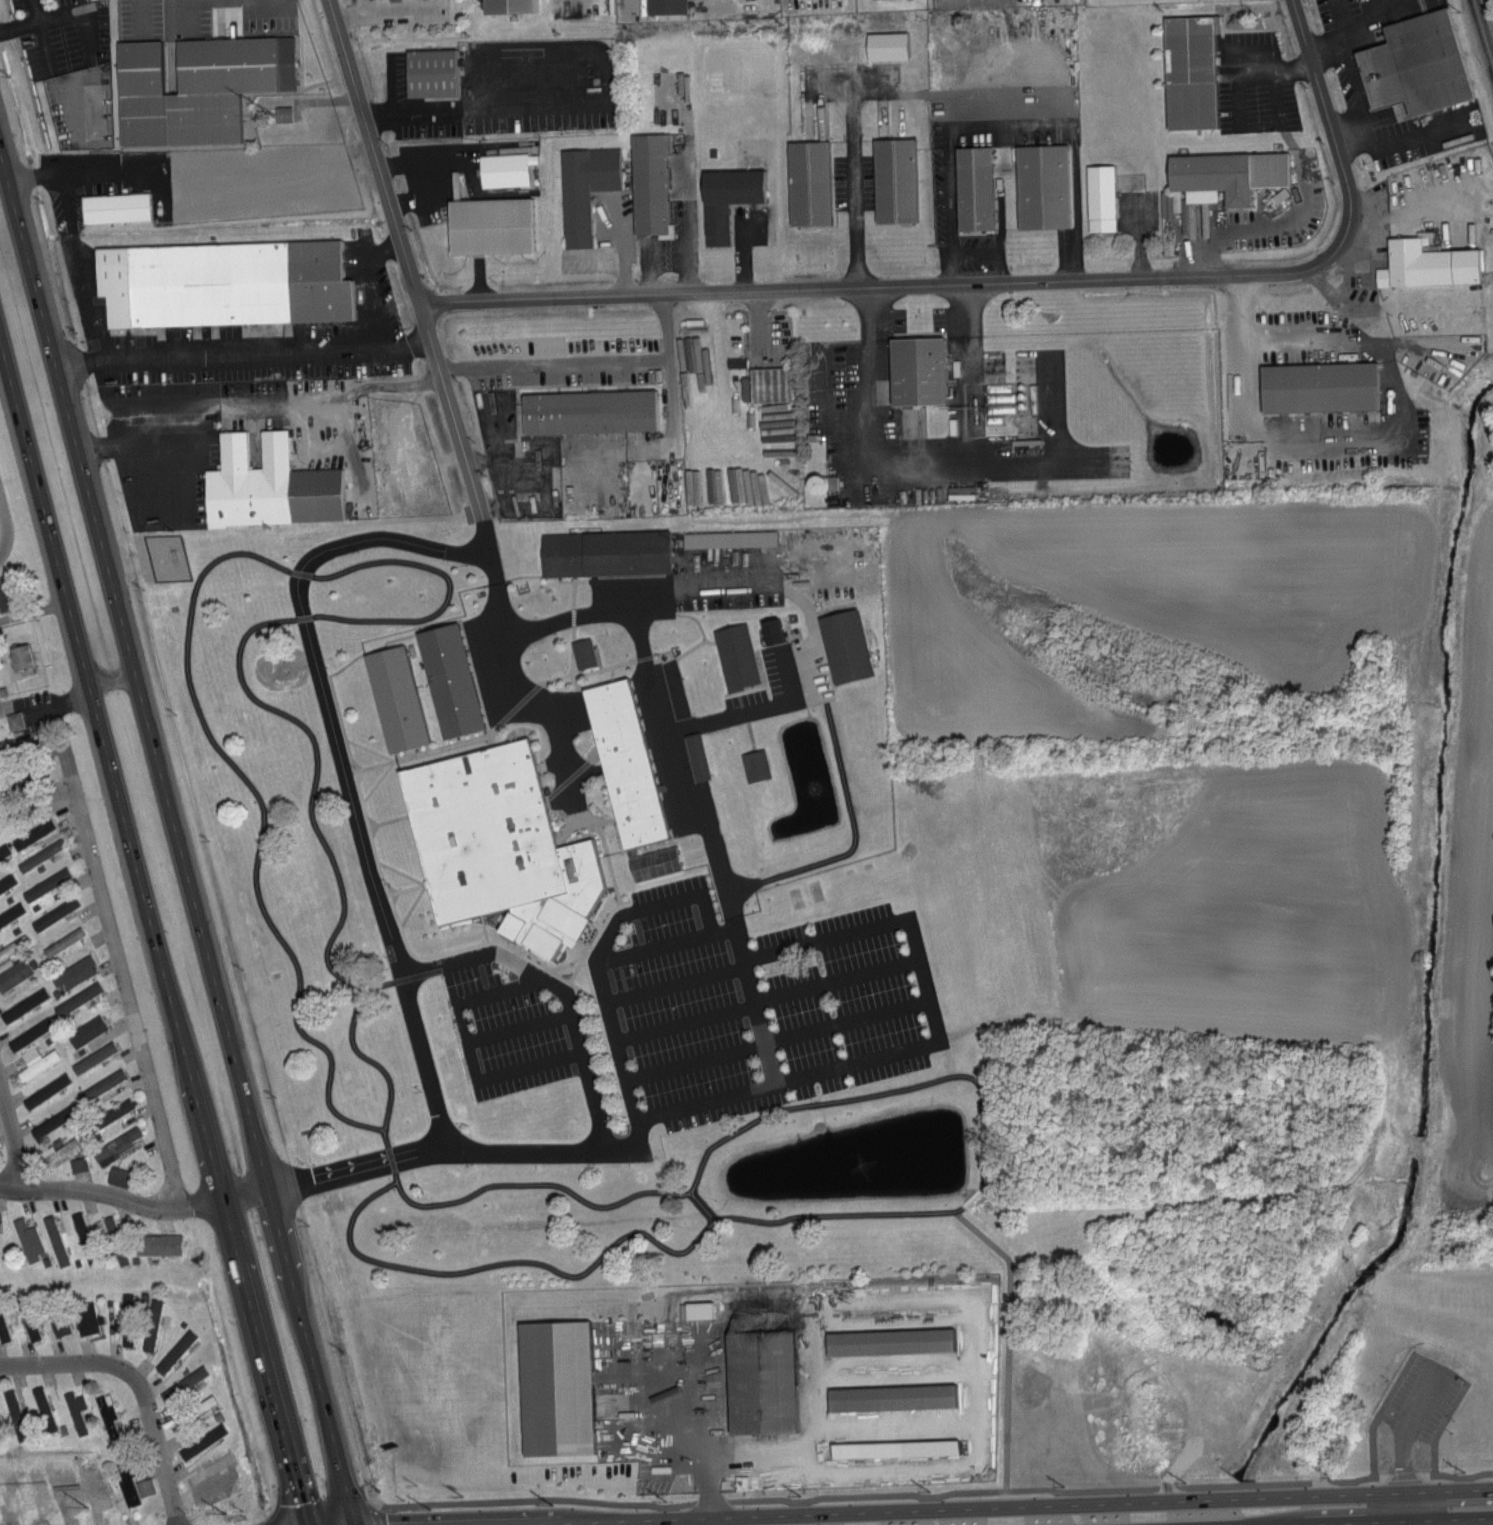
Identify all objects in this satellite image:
building: (392, 0)
road: (975, 1)
road: (382, 2)
building: (507, 6)
building: (665, 6)
road: (1371, 10)
railway: (1487, 19)
road: (20, 27)
road: (43, 35)
building: (886, 45)
road: (1328, 47)
building: (1414, 64)
building: (1189, 71)
building: (429, 73)
road: (1356, 85)
building: (194, 87)
road: (479, 108)
road: (1238, 109)
building: (281, 113)
road: (1331, 120)
road: (1073, 127)
road: (1420, 134)
road: (851, 137)
building: (503, 167)
road: (83, 168)
building: (1225, 175)
building: (893, 180)
building: (807, 183)
building: (649, 185)
building: (1041, 186)
building: (583, 188)
building: (972, 188)
building: (1279, 195)
road: (951, 198)
building: (1099, 198)
building: (725, 199)
building: (1175, 200)
building: (114, 206)
building: (488, 226)
road: (1263, 226)
road: (1137, 237)
road: (407, 253)
building: (1426, 264)
building: (221, 281)
road: (887, 287)
road: (968, 309)
road: (865, 313)
road: (761, 326)
road: (1295, 328)
road: (244, 352)
road: (587, 364)
building: (916, 368)
road: (723, 377)
building: (1317, 385)
road: (253, 397)
road: (669, 401)
building: (588, 410)
building: (420, 465)
road: (923, 467)
building: (820, 481)
building: (267, 483)
road: (480, 521)
road: (2, 528)
building: (728, 537)
building: (603, 551)
road: (393, 561)
road: (639, 599)
building: (5, 600)
building: (770, 628)
building: (843, 644)
building: (582, 651)
building: (735, 655)
building: (24, 658)
road: (134, 672)
building: (448, 678)
road: (521, 686)
building: (393, 696)
road: (806, 696)
building: (13, 720)
parking lot: (569, 721)
building: (18, 743)
building: (696, 755)
building: (623, 761)
building: (754, 764)
road: (346, 766)
road: (674, 770)
building: (30, 781)
road: (852, 819)
building: (33, 831)
building: (496, 846)
building: (2, 852)
building: (43, 854)
building: (654, 862)
building: (6, 880)
building: (50, 884)
road: (740, 887)
building: (11, 912)
building: (54, 913)
road: (154, 935)
building: (65, 941)
building: (14, 946)
road: (667, 948)
road: (477, 953)
road: (757, 960)
building: (77, 972)
building: (15, 973)
road: (923, 978)
road: (398, 979)
road: (123, 983)
building: (79, 997)
road: (767, 999)
road: (460, 1000)
parking lot: (765, 1005)
road: (756, 1006)
building: (22, 1007)
parking lot: (515, 1021)
road: (521, 1028)
building: (88, 1030)
building: (30, 1036)
road: (779, 1039)
building: (98, 1058)
road: (585, 1058)
building: (40, 1063)
road: (530, 1067)
road: (789, 1079)
building: (105, 1085)
road: (871, 1094)
building: (45, 1095)
building: (111, 1113)
building: (51, 1121)
road: (10, 1142)
building: (119, 1142)
road: (634, 1145)
road: (390, 1153)
building: (58, 1154)
fountain: (868, 1156)
building: (77, 1163)
building: (117, 1175)
road: (540, 1183)
road: (972, 1199)
road: (134, 1201)
road: (702, 1205)
road: (838, 1215)
building: (87, 1233)
building: (31, 1239)
building: (58, 1239)
building: (118, 1240)
building: (155, 1247)
road: (505, 1262)
road: (908, 1298)
building: (126, 1318)
building: (90, 1319)
building: (32, 1320)
building: (60, 1321)
building: (154, 1324)
building: (3, 1330)
building: (896, 1341)
building: (174, 1351)
road: (311, 1355)
building: (763, 1363)
road: (1445, 1373)
park: (1399, 1375)
building: (188, 1383)
road: (138, 1384)
building: (559, 1387)
building: (898, 1398)
building: (48, 1407)
building: (199, 1410)
building: (77, 1415)
building: (17, 1416)
building: (109, 1416)
building: (212, 1433)
road: (675, 1436)
building: (901, 1449)
road: (1425, 1469)
building: (218, 1473)
building: (129, 1482)
building: (144, 1486)
road: (1104, 1486)
building: (39, 1490)
road: (544, 1498)
road: (920, 1504)
road: (717, 1512)
traffic signals: (355, 1522)
road: (1431, 1522)
road: (355, 1523)

